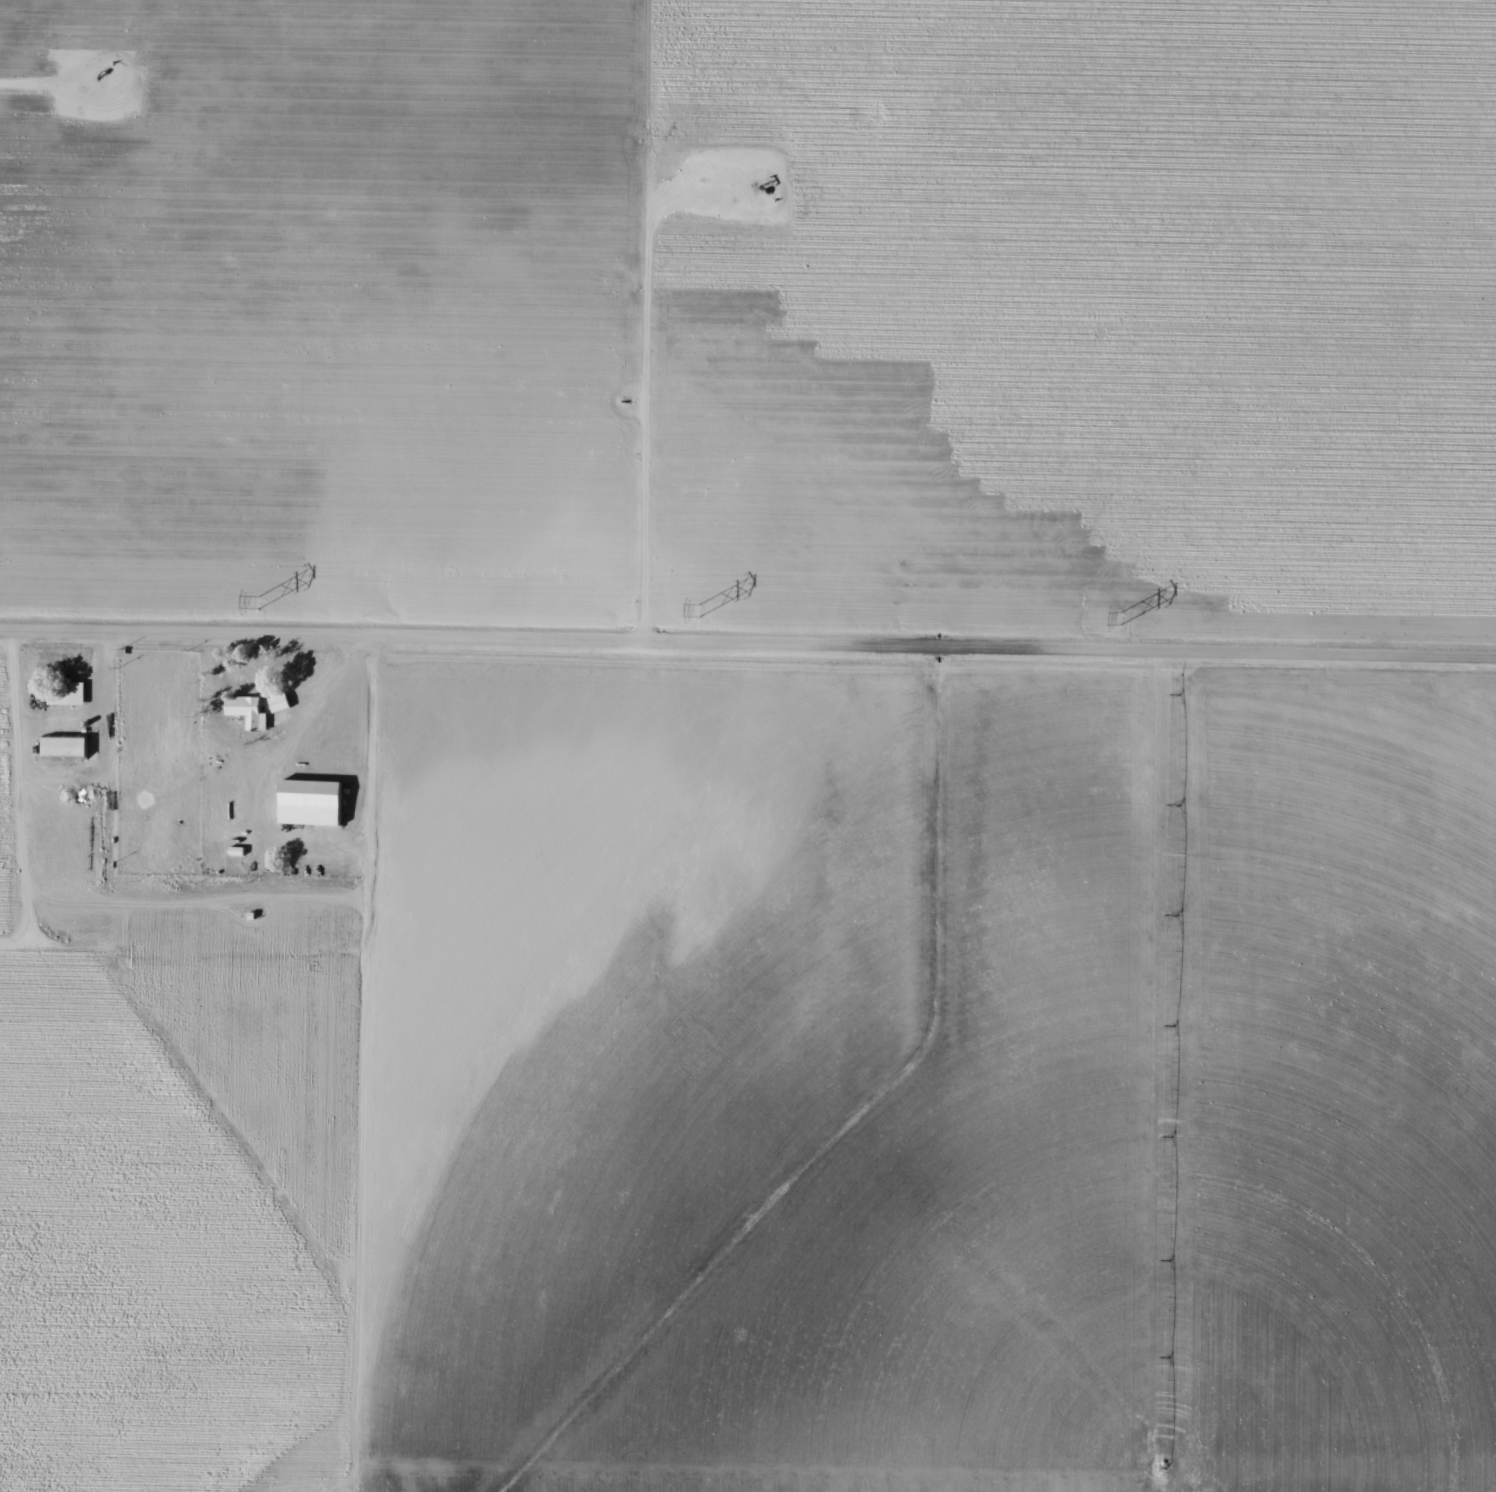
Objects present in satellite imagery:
power tower: (260, 600)
power tower: (699, 607)
power tower: (1120, 615)
road: (747, 653)
building: (64, 746)
road: (62, 777)
building: (311, 801)
road: (372, 1061)
road: (1142, 1085)

